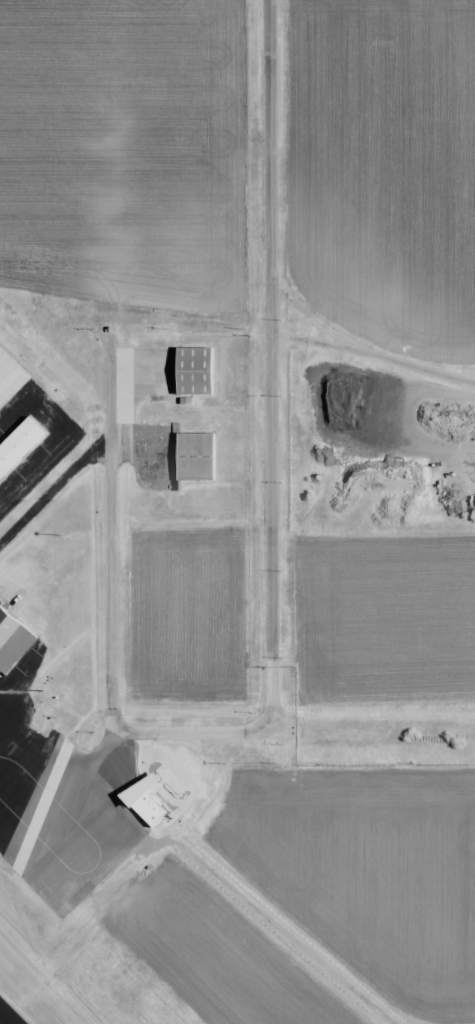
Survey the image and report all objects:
building: (186, 364)
airport apron: (28, 432)
building: (14, 438)
road: (273, 440)
building: (186, 452)
airport: (237, 512)
road: (112, 562)
building: (9, 635)
building: (38, 719)
airport apron: (24, 770)
road: (231, 888)

